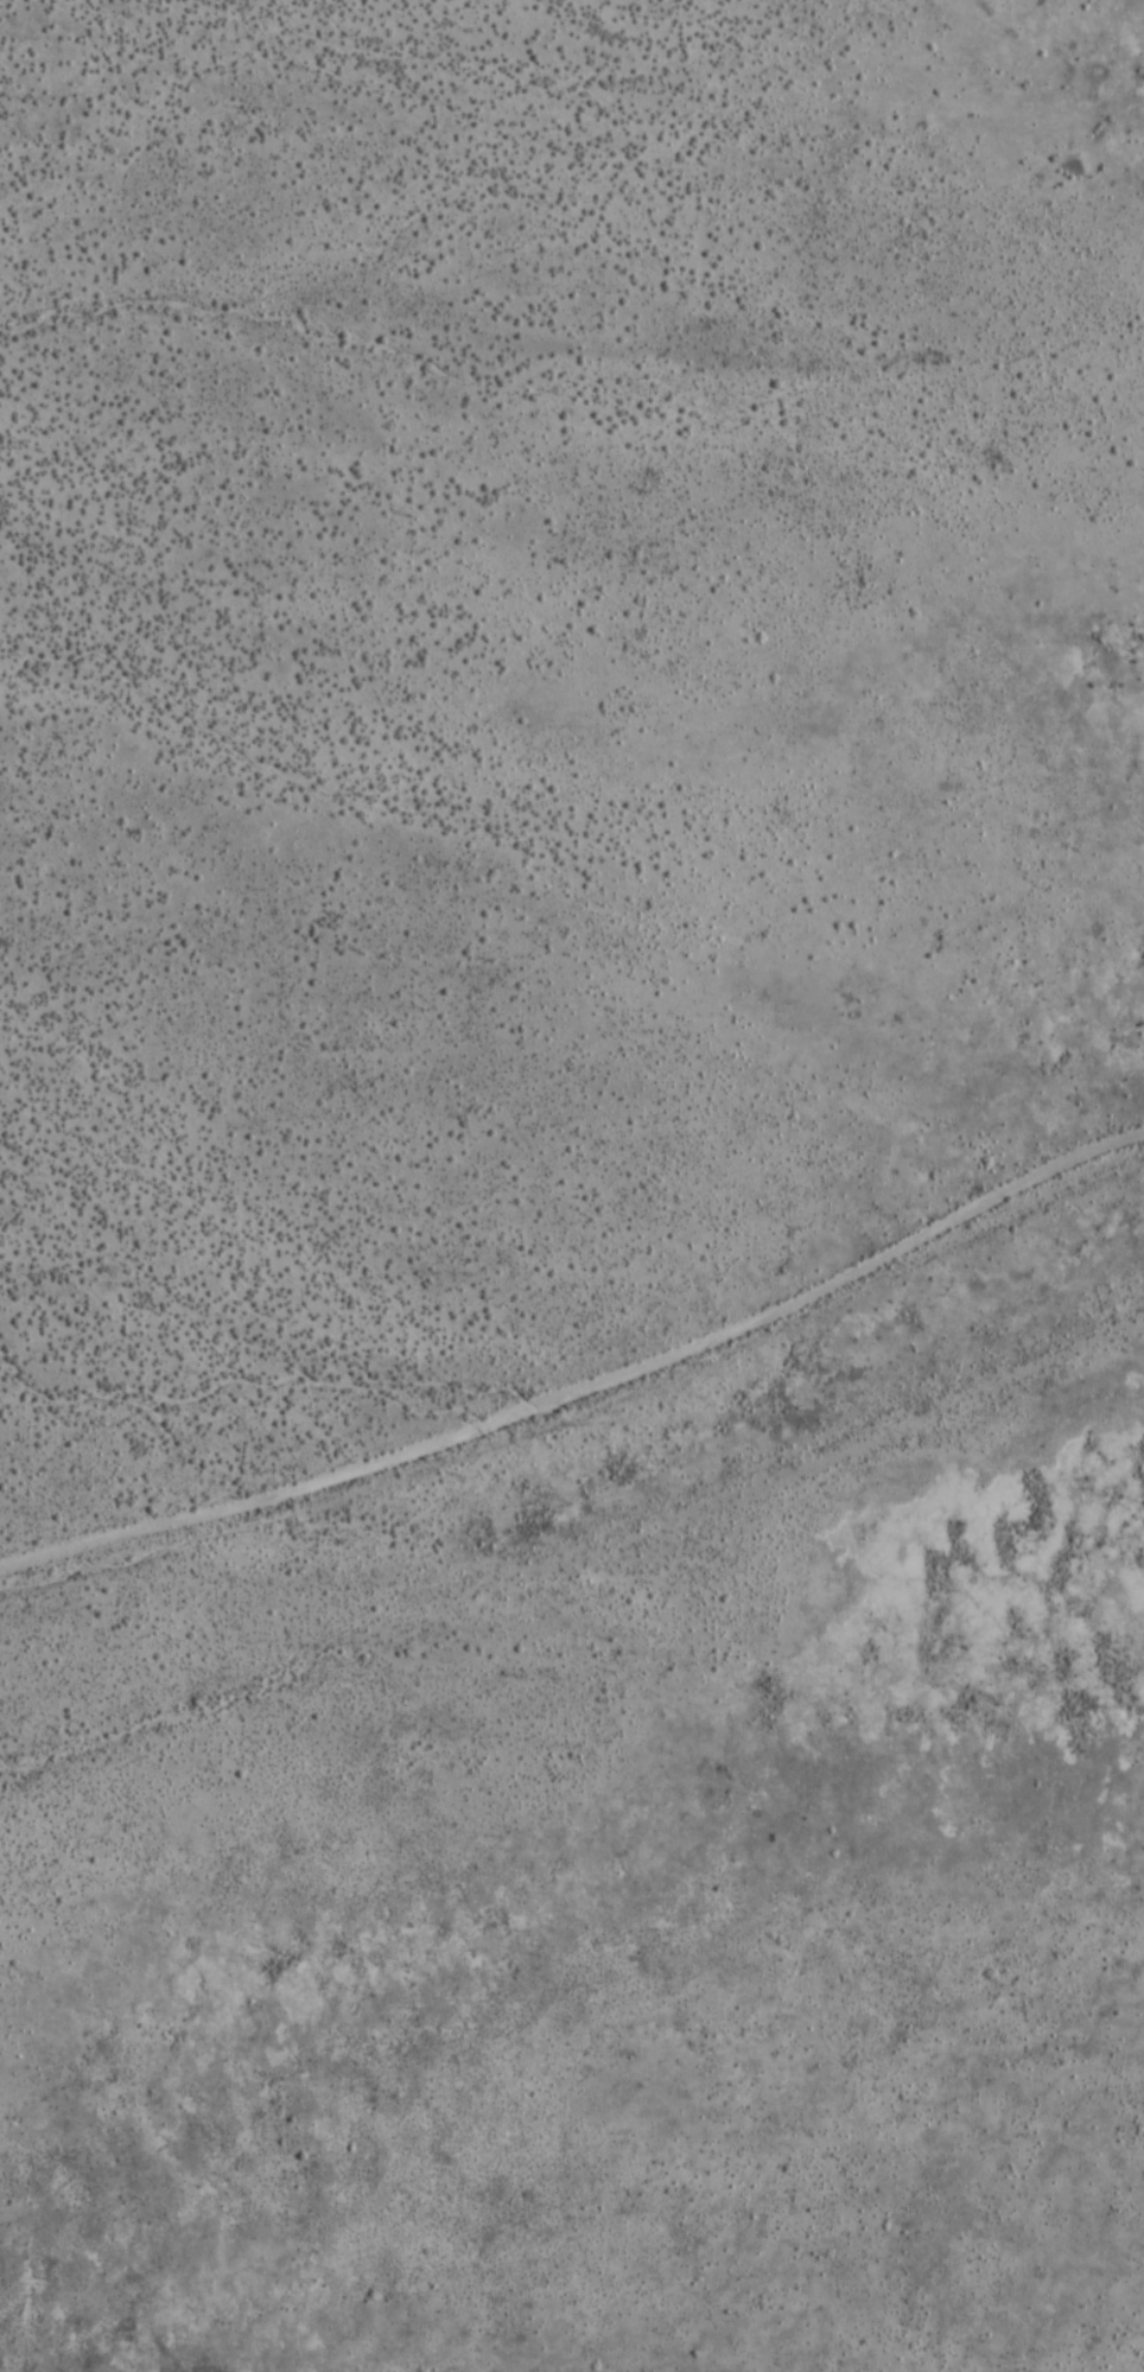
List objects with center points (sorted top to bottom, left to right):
road: (586, 1382)

